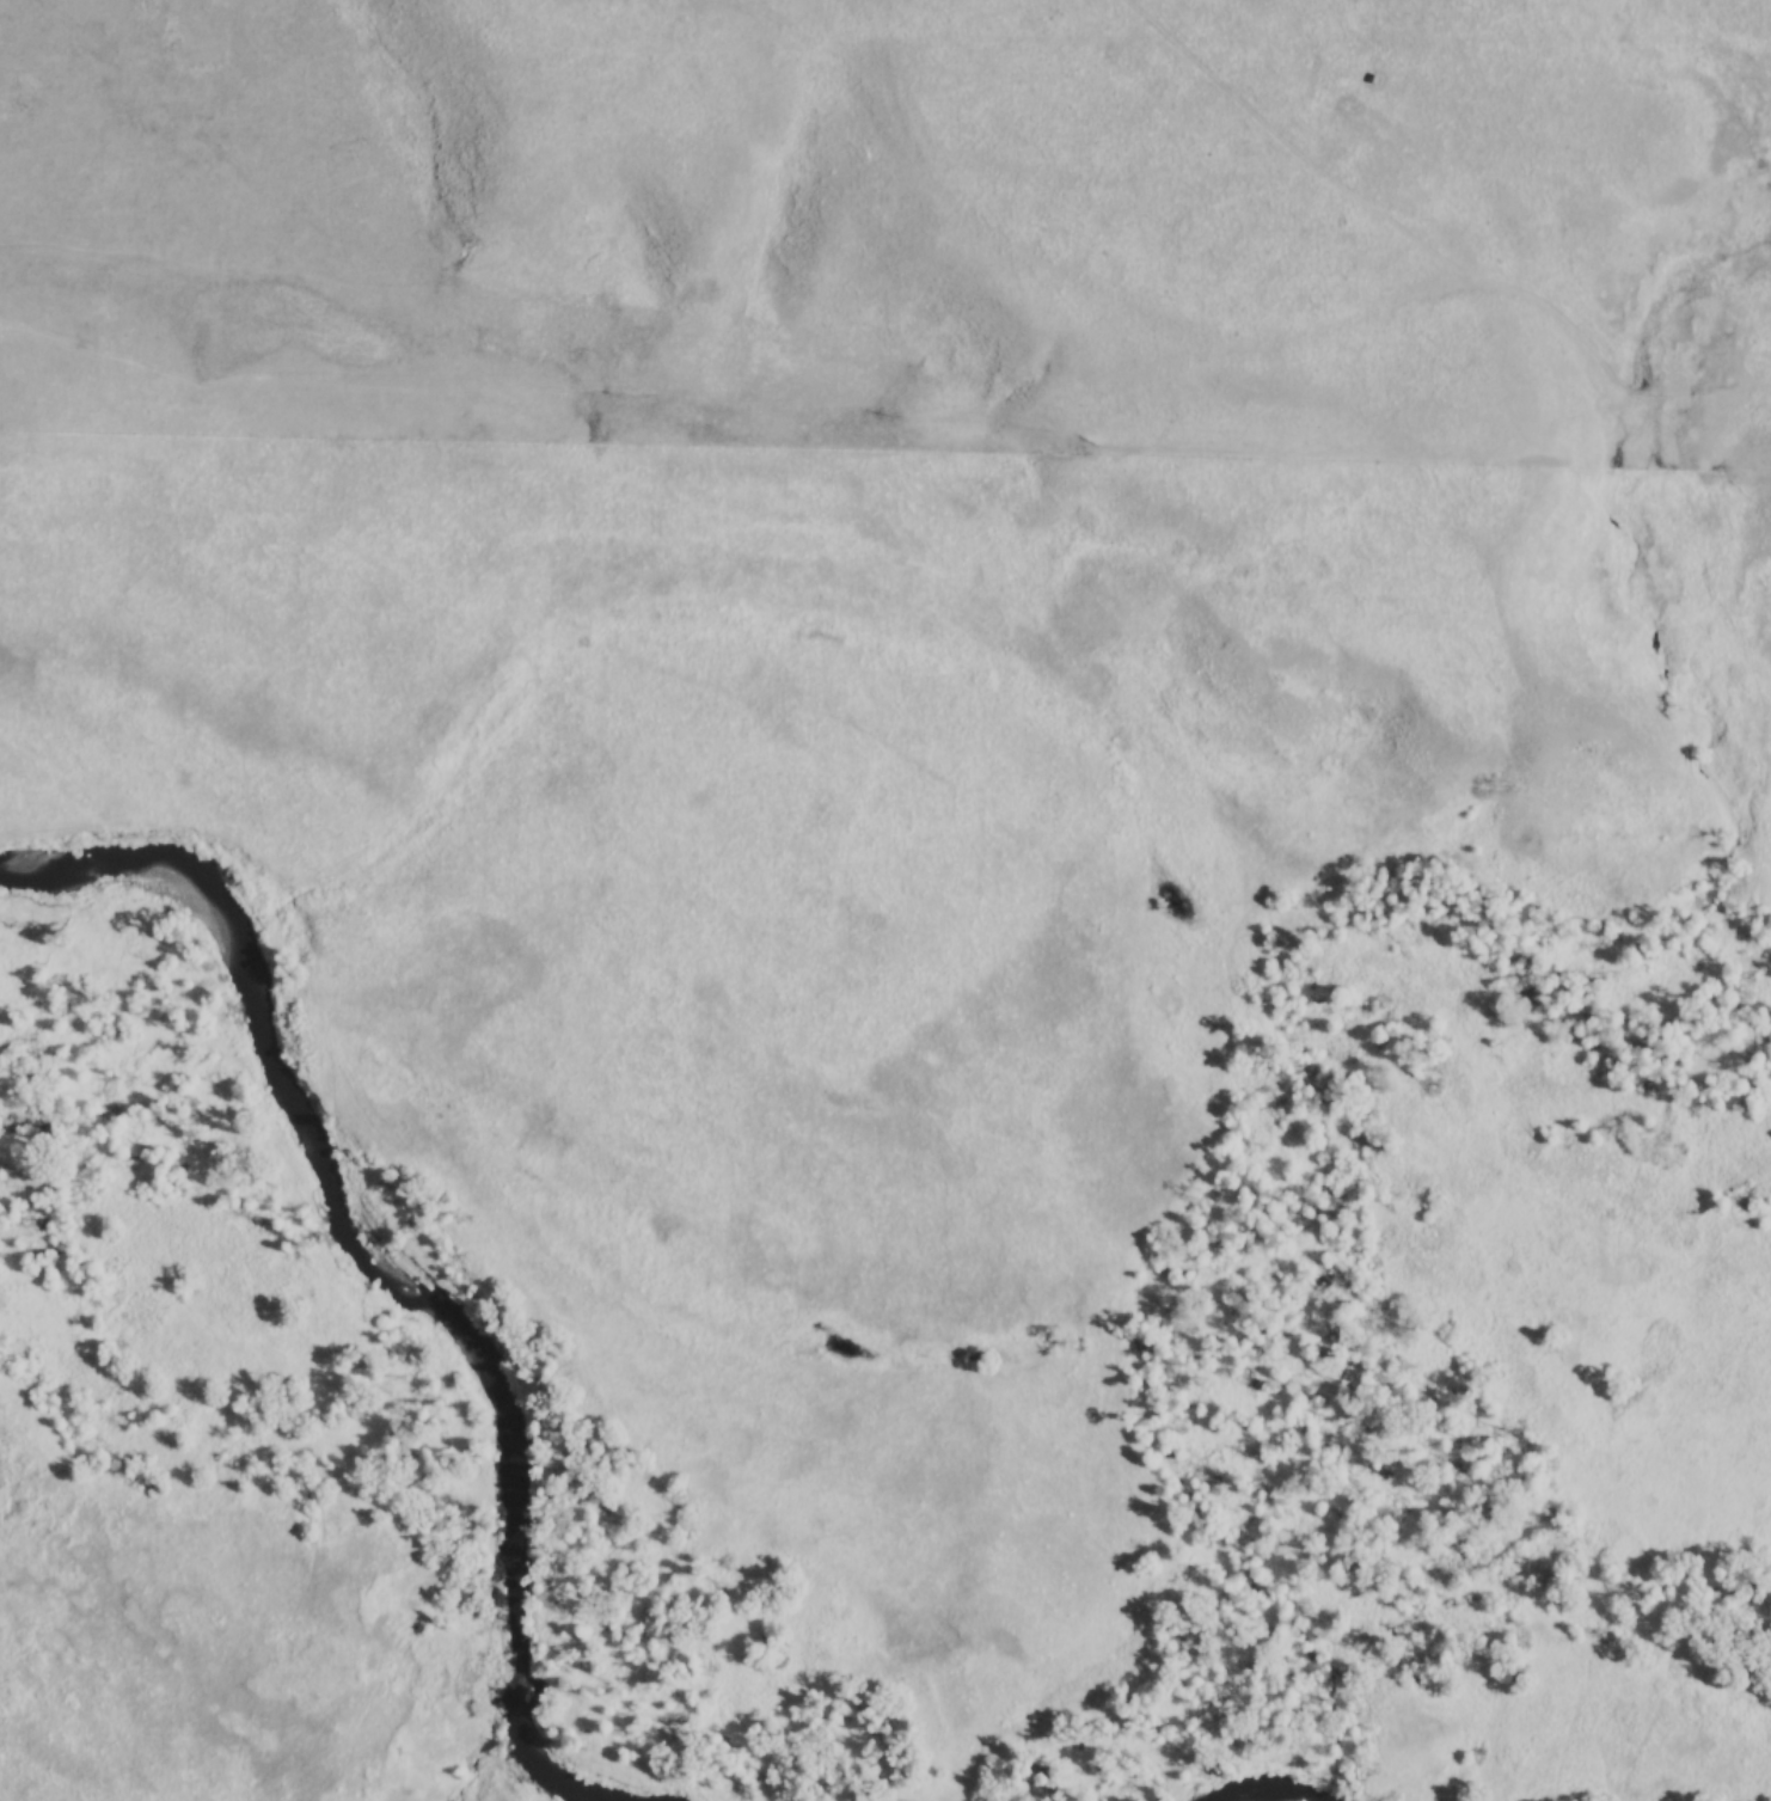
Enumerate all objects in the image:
river: (397, 1279)
river: (1257, 1779)

